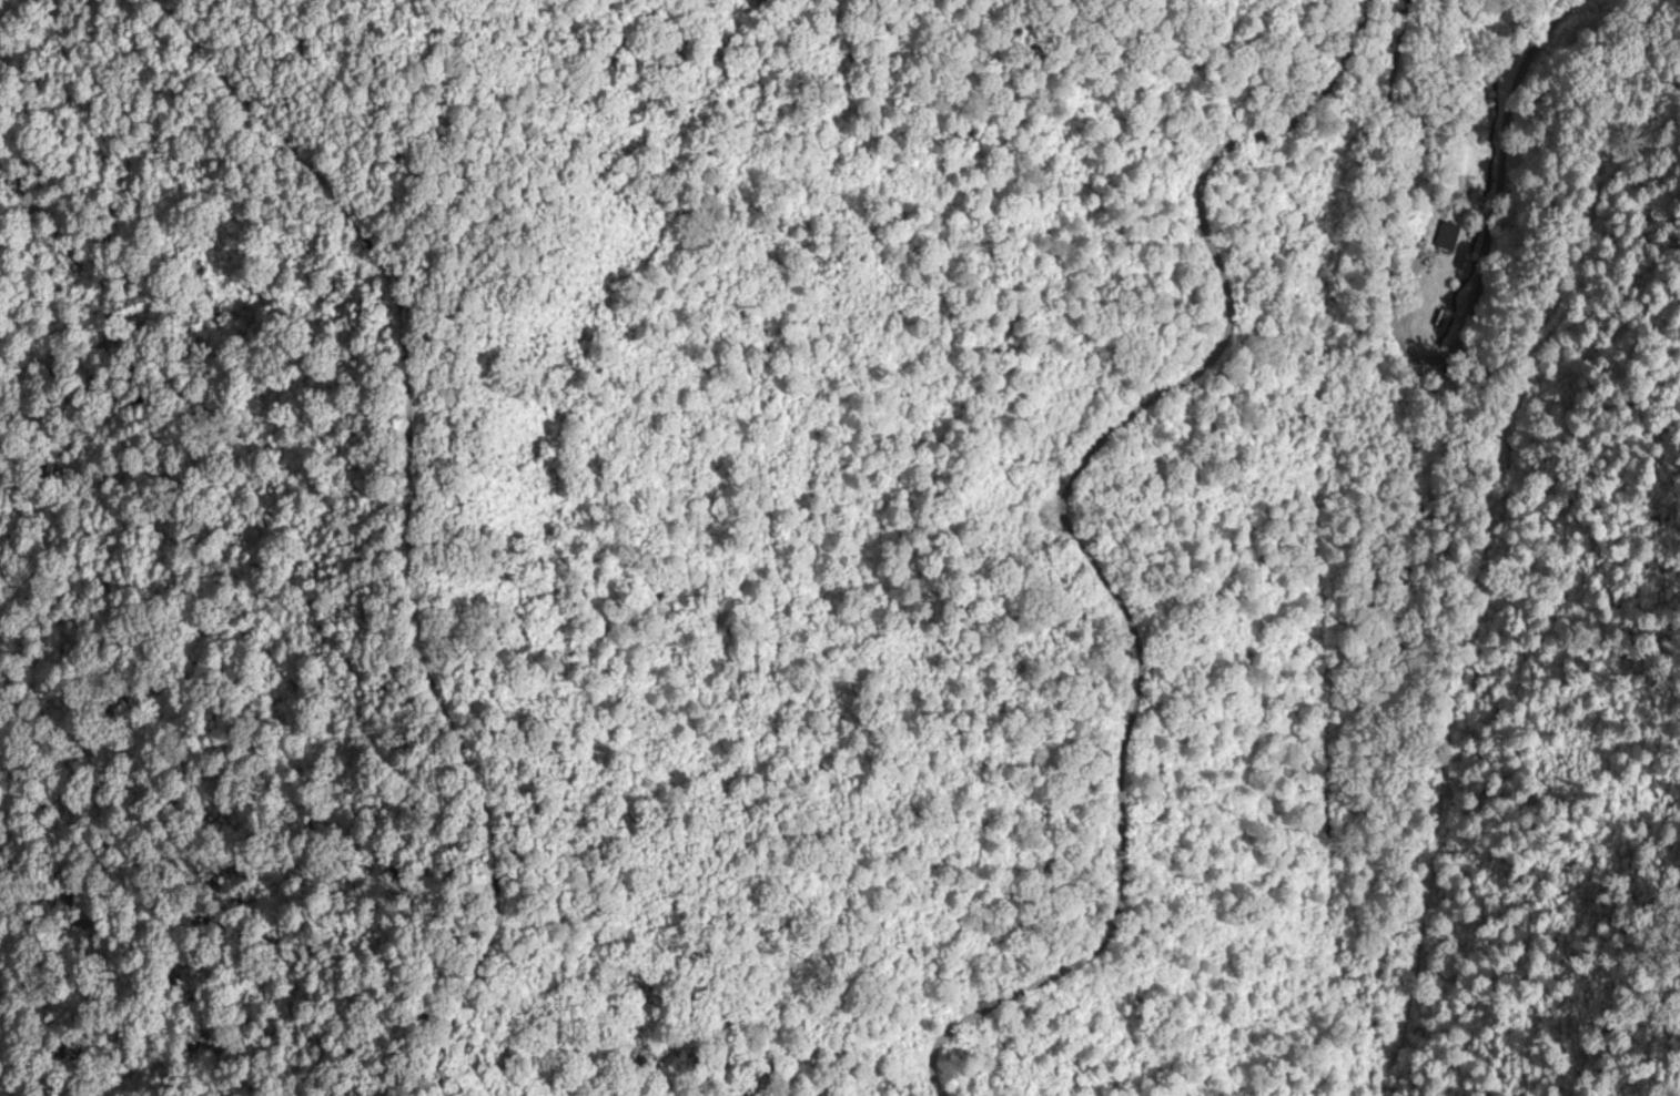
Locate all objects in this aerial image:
road: (1520, 199)
building: (1446, 235)

